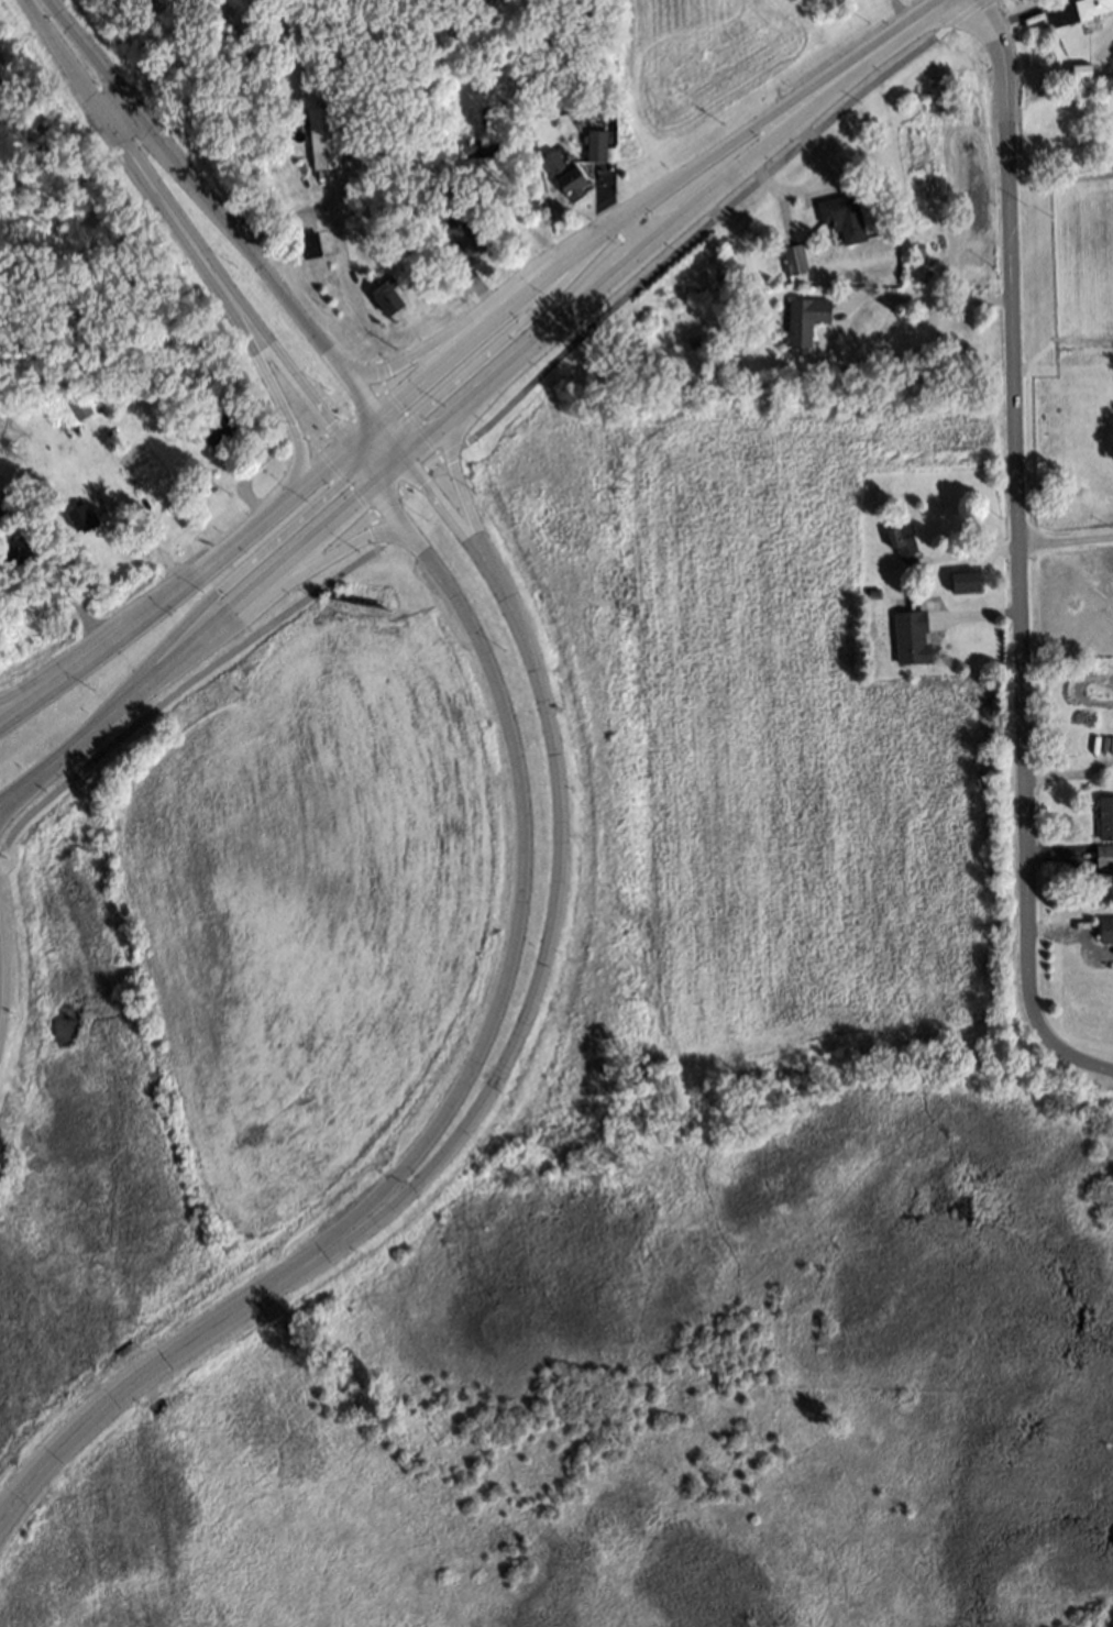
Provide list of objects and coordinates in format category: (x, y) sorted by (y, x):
road: (943, 8)
building: (1075, 10)
road: (912, 11)
building: (1043, 30)
crop: (707, 58)
building: (1079, 68)
building: (577, 113)
building: (294, 130)
building: (326, 136)
building: (594, 139)
building: (482, 146)
building: (426, 147)
building: (562, 172)
road: (646, 204)
road: (216, 207)
road: (516, 211)
road: (320, 212)
building: (840, 213)
road: (175, 224)
road: (672, 235)
building: (464, 238)
building: (306, 241)
building: (792, 257)
building: (384, 296)
road: (929, 300)
road: (476, 309)
building: (803, 311)
road: (507, 340)
building: (696, 343)
building: (151, 378)
building: (136, 384)
road: (279, 398)
building: (77, 402)
traffic signals: (378, 415)
building: (223, 424)
road: (387, 426)
road: (484, 429)
road: (356, 432)
road: (373, 447)
road: (406, 447)
traffic signals: (335, 450)
traffic signals: (415, 457)
road: (344, 462)
road: (376, 463)
road: (393, 475)
road: (362, 485)
road: (462, 493)
traffic signals: (371, 495)
building: (1, 503)
building: (78, 512)
road: (1067, 538)
building: (901, 539)
road: (150, 542)
building: (15, 548)
road: (1021, 553)
building: (925, 578)
building: (963, 581)
road: (63, 587)
road: (173, 589)
road: (217, 591)
building: (870, 592)
road: (275, 596)
building: (908, 635)
road: (186, 653)
road: (19, 696)
crop: (779, 774)
building: (1105, 811)
road: (561, 846)
road: (514, 850)
building: (1103, 853)
crop: (308, 902)
building: (1104, 925)
road: (172, 1355)

